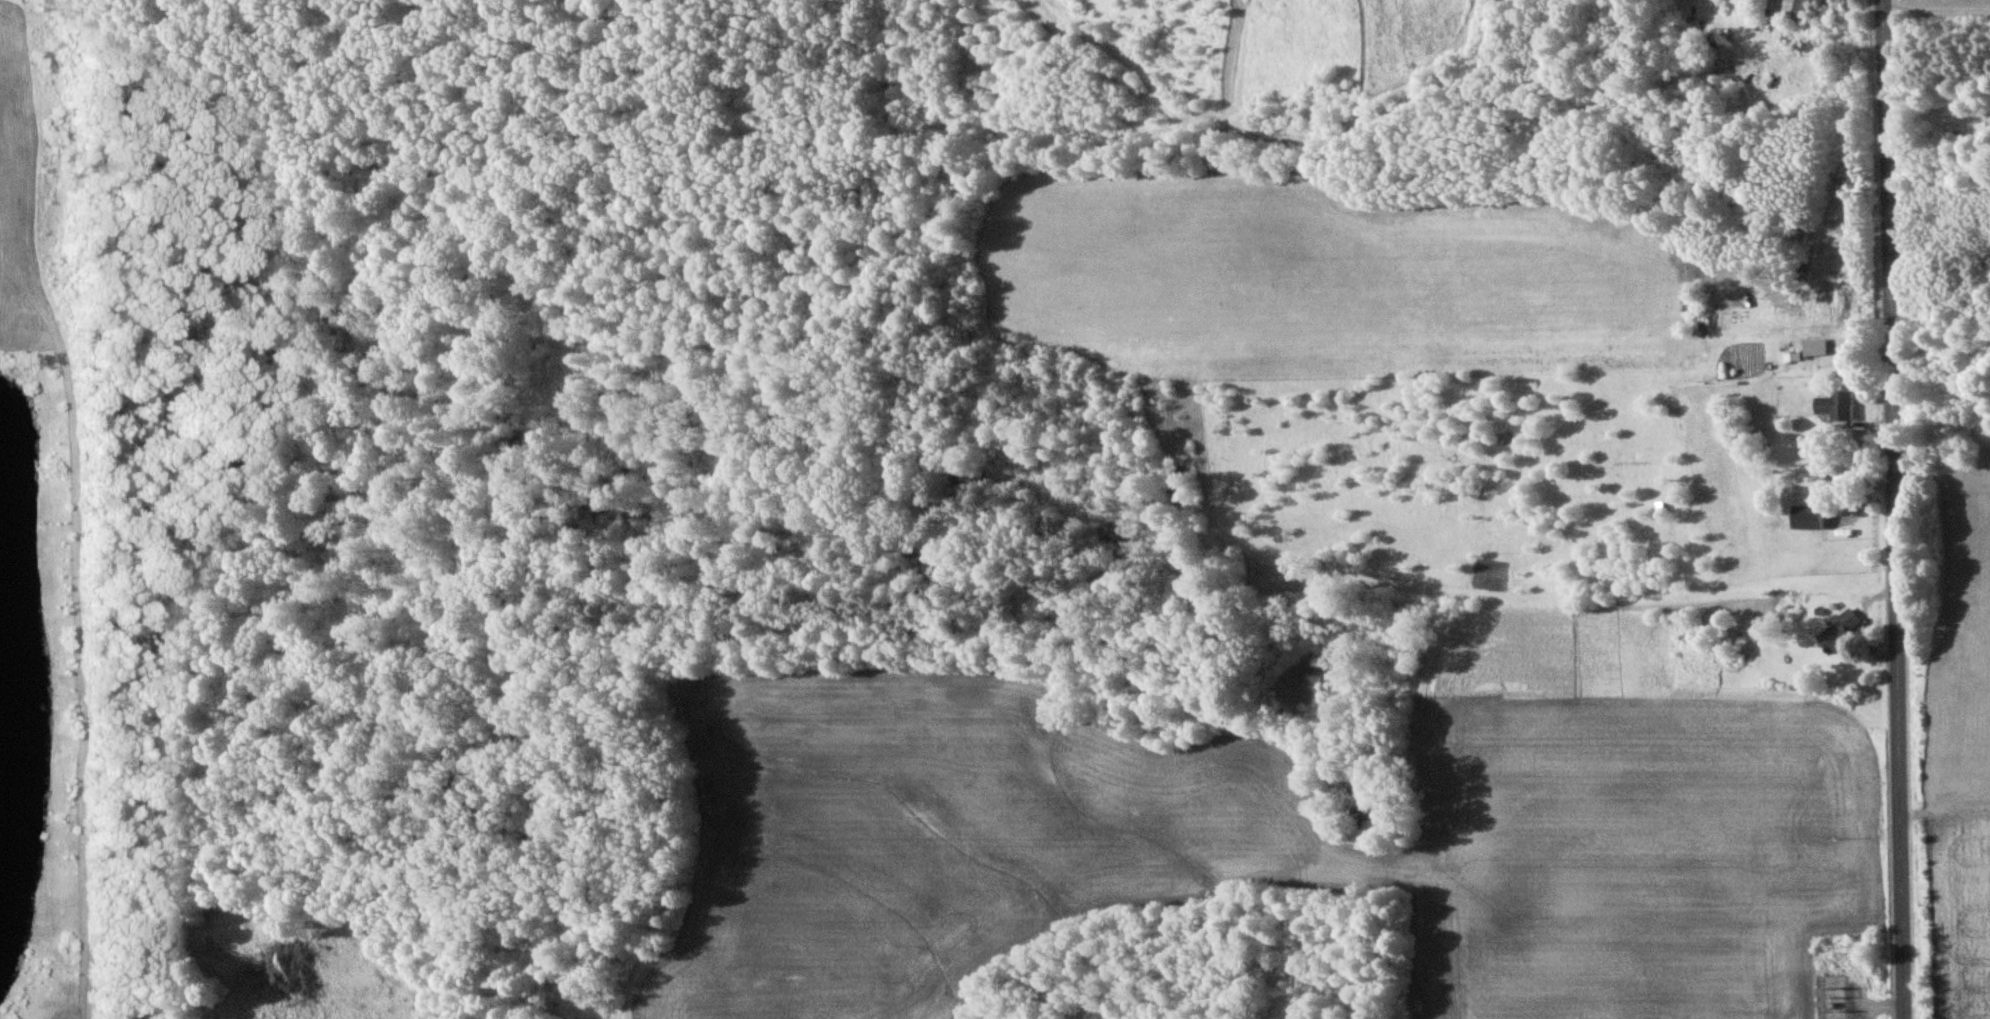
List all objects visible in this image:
building: (1798, 8)
building: (1817, 346)
building: (1840, 405)
road: (1893, 509)
building: (1812, 516)
building: (1840, 631)

